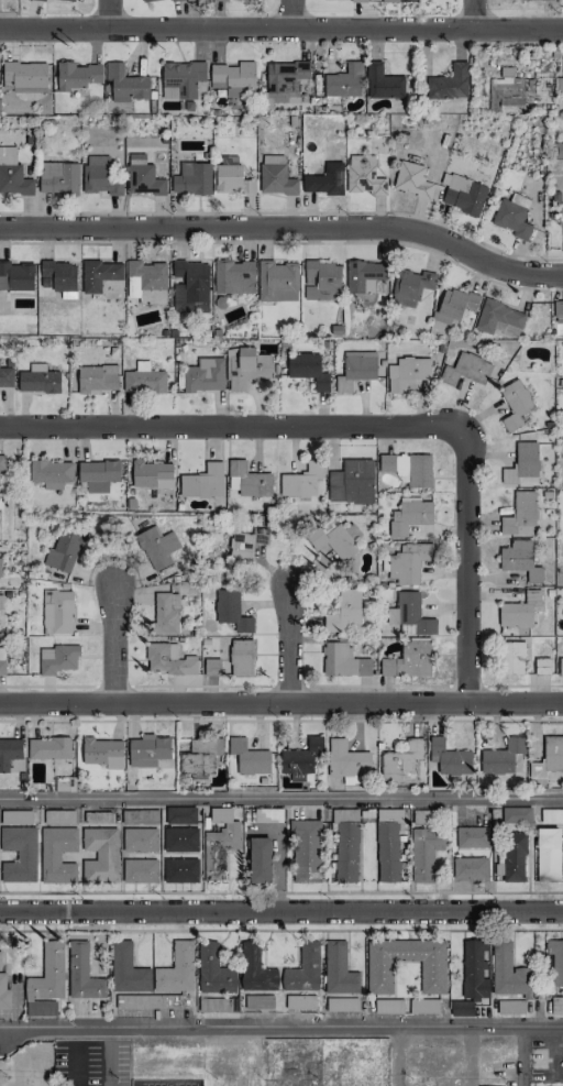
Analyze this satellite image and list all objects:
building: (67, 0)
building: (151, 0)
building: (221, 0)
building: (251, 0)
building: (349, 0)
building: (402, 0)
road: (473, 12)
road: (107, 14)
road: (289, 14)
road: (281, 29)
building: (76, 75)
building: (25, 76)
building: (232, 76)
building: (181, 79)
building: (286, 79)
building: (343, 80)
building: (383, 83)
building: (448, 83)
building: (125, 84)
building: (517, 90)
building: (12, 174)
building: (100, 175)
building: (363, 175)
building: (143, 176)
building: (231, 176)
building: (275, 176)
building: (58, 177)
building: (191, 178)
building: (325, 179)
building: (411, 179)
building: (464, 195)
road: (285, 211)
building: (512, 216)
road: (285, 226)
building: (562, 249)
building: (99, 274)
building: (364, 275)
building: (15, 276)
building: (60, 276)
building: (234, 276)
building: (147, 281)
building: (277, 281)
building: (322, 281)
building: (190, 286)
building: (454, 304)
building: (558, 311)
building: (499, 318)
building: (246, 366)
building: (356, 369)
building: (466, 369)
building: (308, 370)
building: (407, 373)
building: (205, 374)
building: (5, 377)
building: (98, 377)
building: (143, 379)
building: (38, 380)
building: (515, 404)
road: (232, 428)
building: (527, 459)
building: (386, 462)
building: (2, 463)
building: (415, 469)
building: (98, 472)
building: (52, 473)
building: (152, 474)
building: (249, 481)
building: (301, 481)
building: (203, 482)
building: (351, 482)
building: (521, 514)
building: (409, 515)
building: (335, 538)
building: (243, 546)
building: (156, 547)
building: (64, 550)
building: (520, 560)
building: (408, 561)
road: (466, 564)
building: (0, 568)
building: (231, 610)
building: (57, 612)
building: (165, 612)
building: (344, 612)
building: (518, 612)
building: (410, 614)
road: (112, 636)
road: (288, 637)
building: (241, 657)
building: (514, 657)
building: (409, 659)
building: (59, 660)
building: (168, 660)
building: (342, 660)
building: (2, 666)
building: (211, 666)
building: (542, 666)
building: (561, 666)
road: (280, 703)
building: (48, 748)
building: (147, 750)
building: (9, 752)
building: (102, 752)
building: (501, 756)
building: (200, 757)
building: (249, 757)
building: (449, 758)
building: (301, 759)
building: (550, 759)
building: (347, 763)
building: (401, 763)
road: (281, 797)
building: (267, 814)
building: (516, 814)
building: (180, 815)
building: (551, 815)
building: (15, 816)
building: (58, 816)
building: (473, 837)
building: (141, 840)
building: (180, 840)
building: (219, 844)
building: (345, 844)
building: (388, 844)
building: (306, 851)
building: (426, 851)
building: (19, 854)
building: (57, 854)
building: (548, 854)
building: (99, 855)
building: (512, 857)
building: (260, 859)
building: (470, 867)
building: (141, 870)
building: (180, 870)
road: (281, 915)
building: (555, 963)
building: (176, 968)
building: (303, 968)
building: (126, 969)
building: (255, 969)
building: (339, 969)
building: (213, 970)
building: (474, 970)
building: (47, 973)
building: (82, 974)
building: (508, 974)
building: (379, 976)
building: (3, 991)
building: (168, 1000)
building: (300, 1001)
building: (341, 1003)
building: (556, 1005)
building: (386, 1006)
building: (423, 1006)
building: (506, 1007)
building: (37, 1008)
building: (461, 1008)
road: (280, 1027)
road: (521, 1055)
road: (395, 1056)
road: (470, 1056)
road: (14, 1075)

